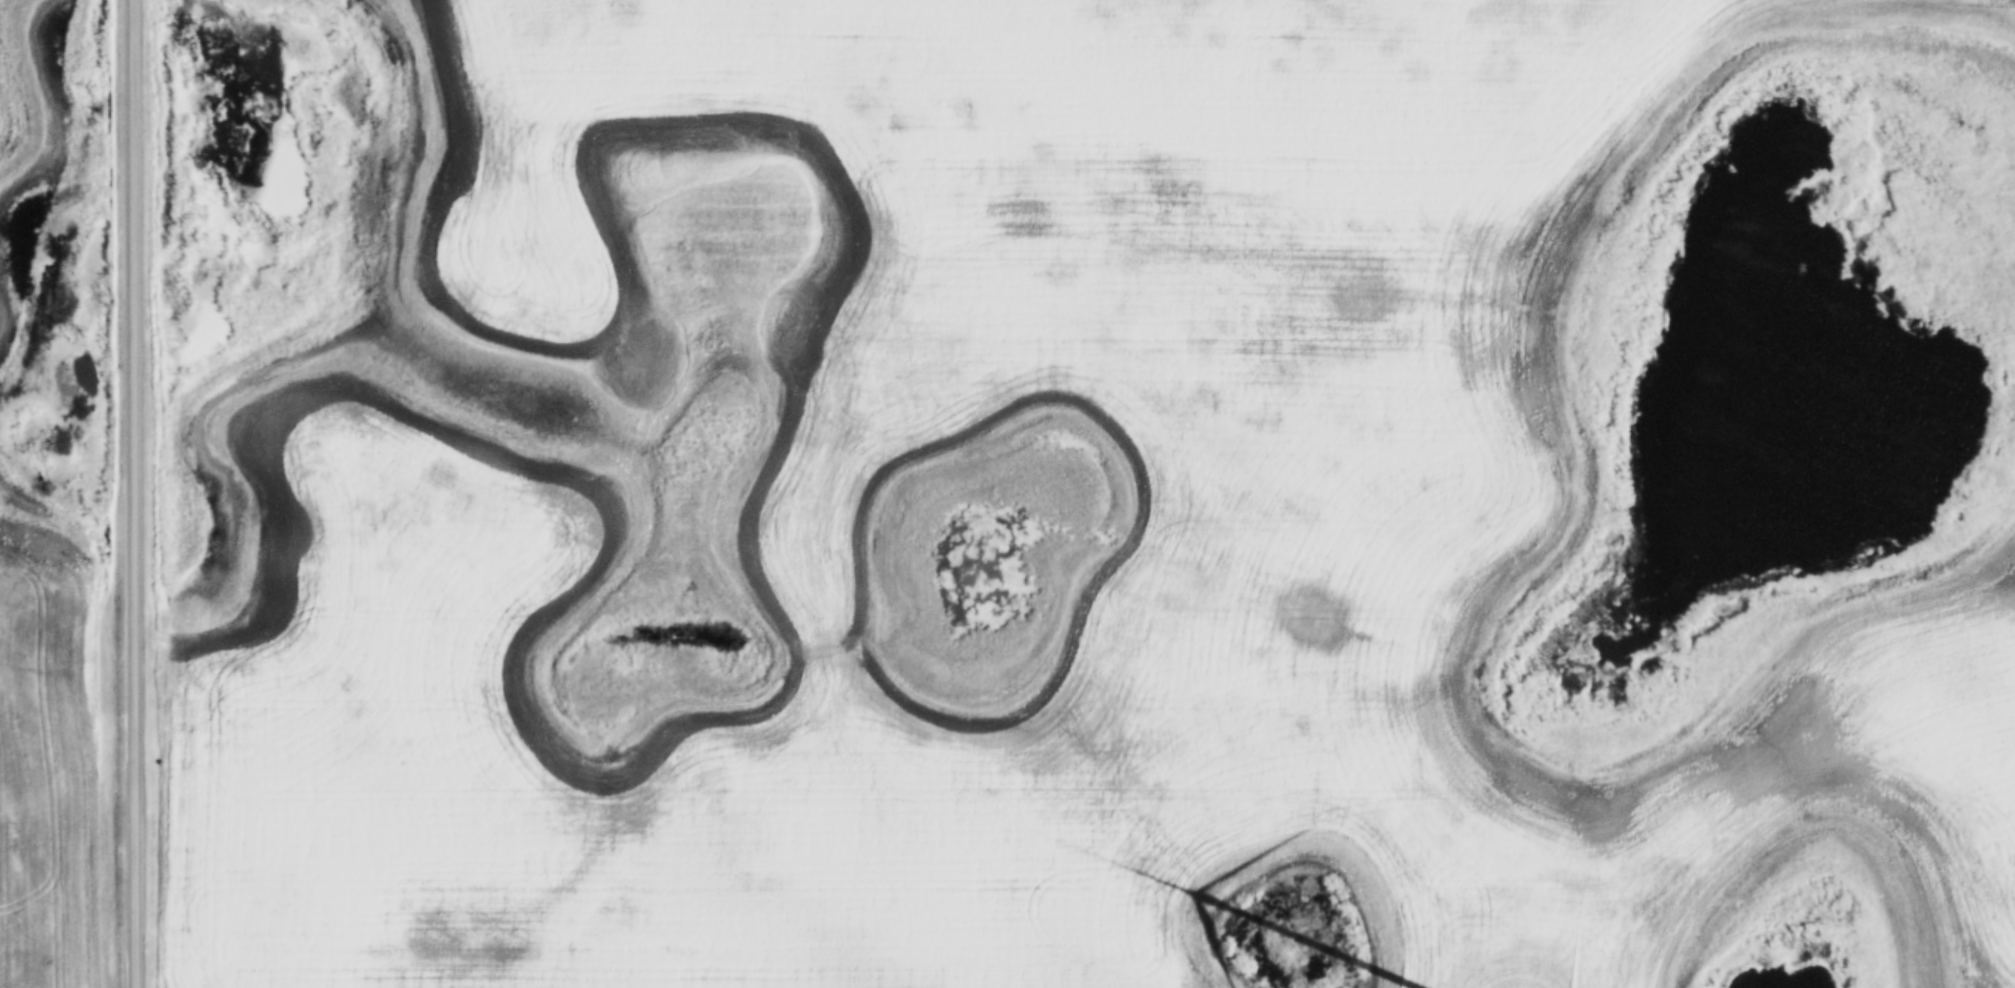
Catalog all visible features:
road: (137, 493)

